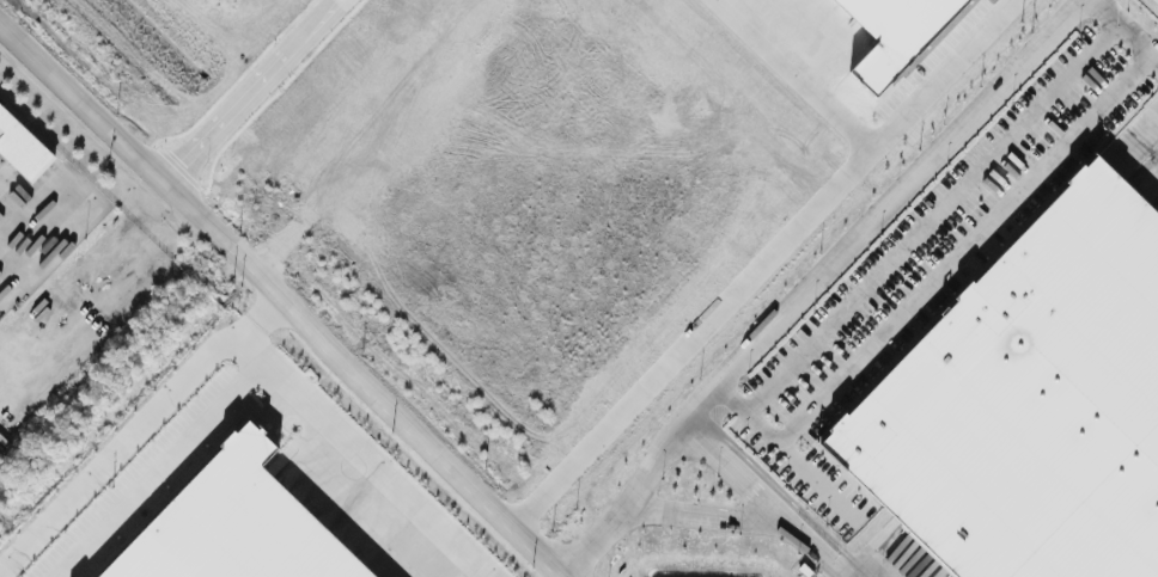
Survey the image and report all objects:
road: (1126, 31)
road: (793, 78)
road: (255, 91)
building: (22, 146)
road: (28, 233)
road: (926, 237)
road: (947, 264)
road: (768, 265)
road: (818, 282)
road: (284, 297)
building: (1029, 401)
road: (136, 425)
road: (358, 455)
road: (740, 471)
road: (816, 479)
road: (701, 520)
building: (234, 524)
road: (823, 548)

